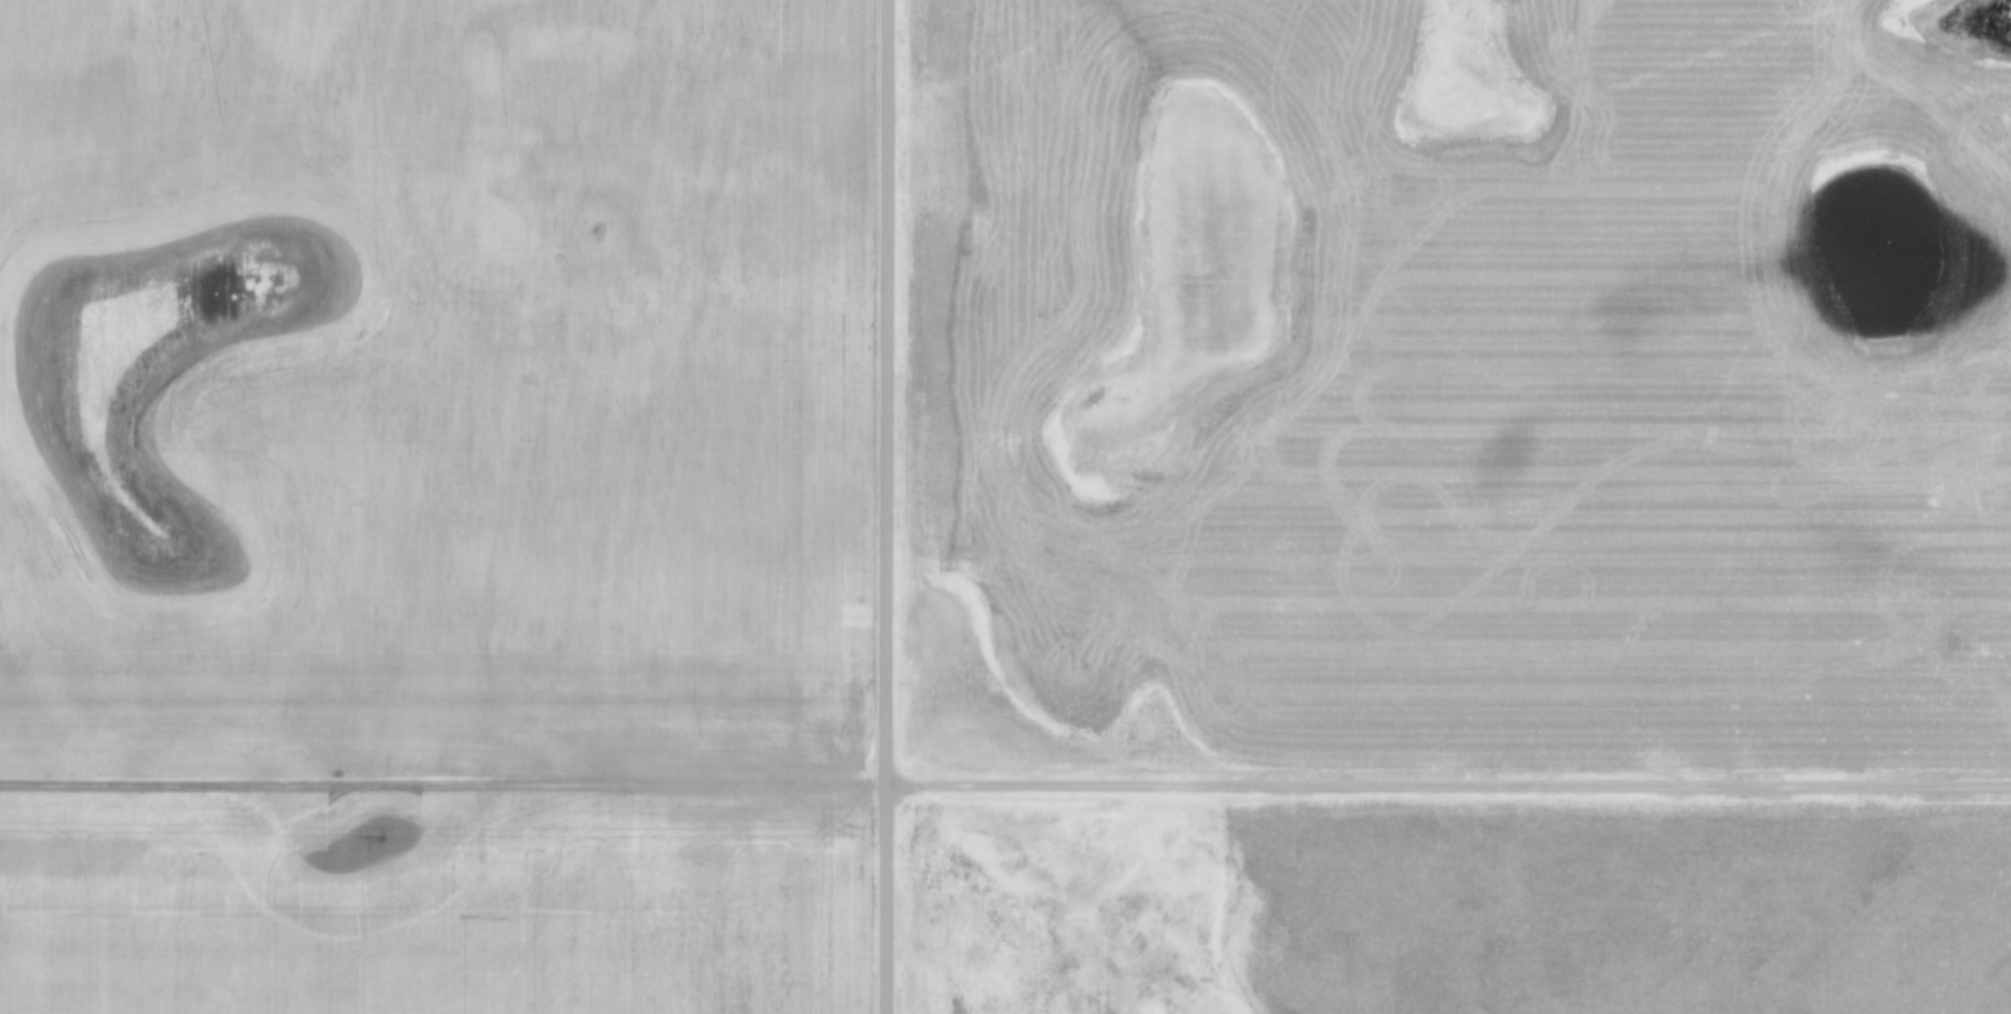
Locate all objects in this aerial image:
road: (886, 507)
road: (445, 771)
road: (1450, 781)

